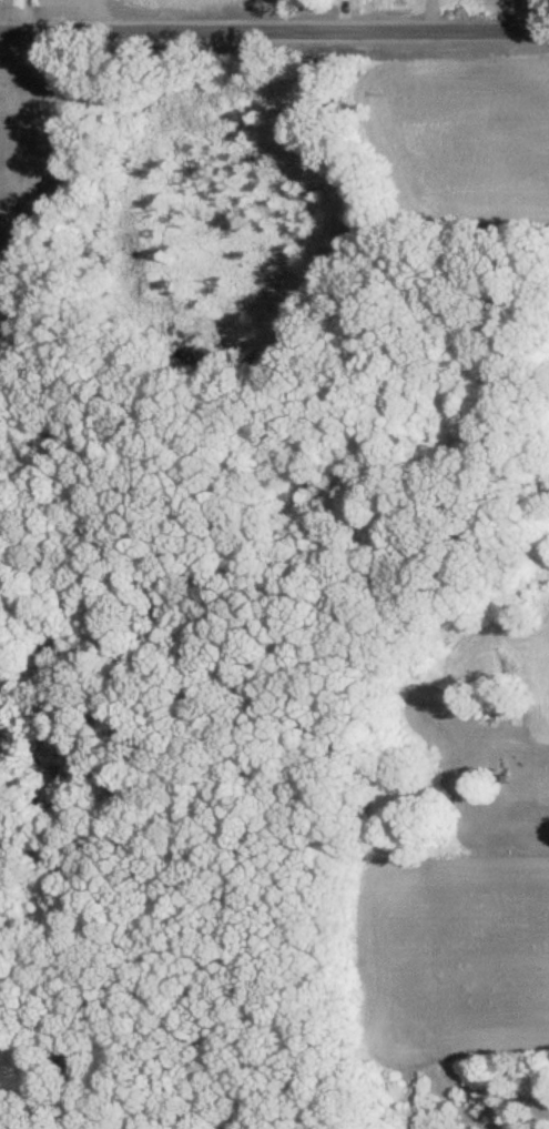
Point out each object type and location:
road: (28, 12)
road: (274, 26)

